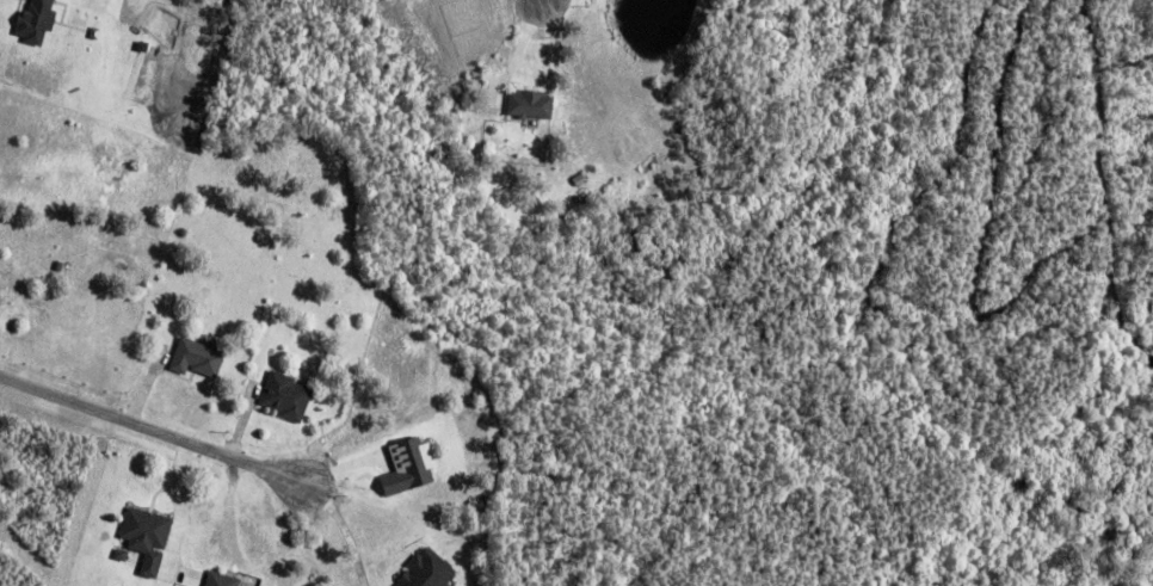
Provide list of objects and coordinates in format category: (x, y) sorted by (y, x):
road: (538, 2)
building: (39, 20)
building: (534, 103)
building: (334, 356)
building: (199, 357)
building: (284, 395)
road: (155, 428)
building: (413, 465)
building: (147, 537)
building: (431, 570)
building: (224, 579)

